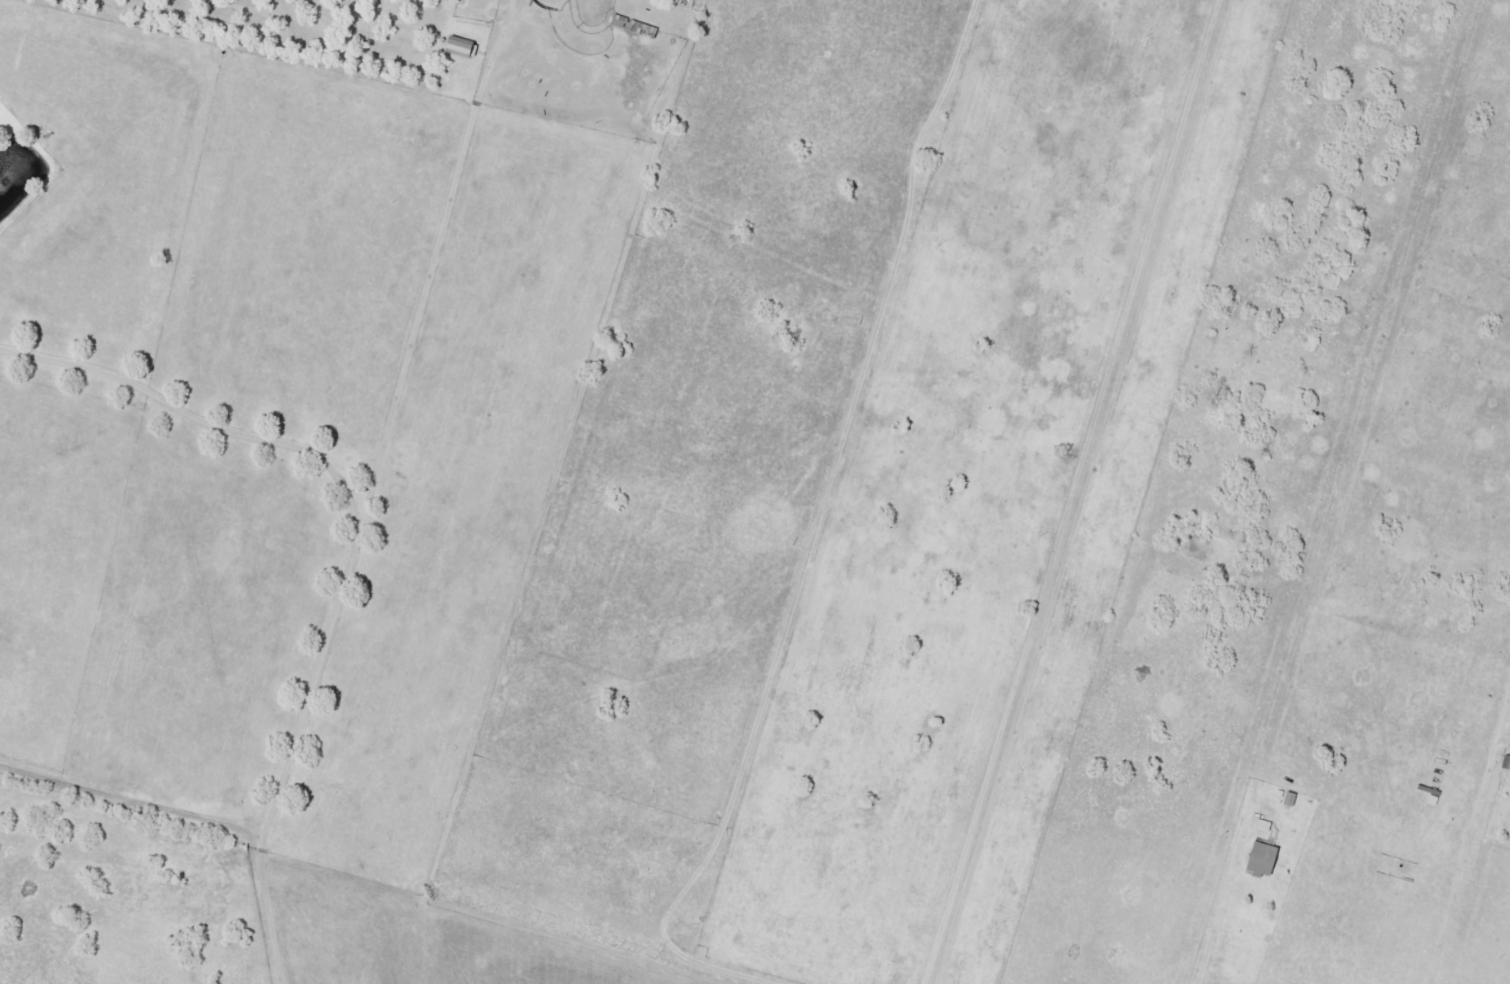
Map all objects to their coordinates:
building: (631, 25)
building: (456, 45)
road: (534, 66)
road: (391, 519)
building: (1507, 764)
building: (1261, 824)
building: (1258, 858)
road: (182, 865)

